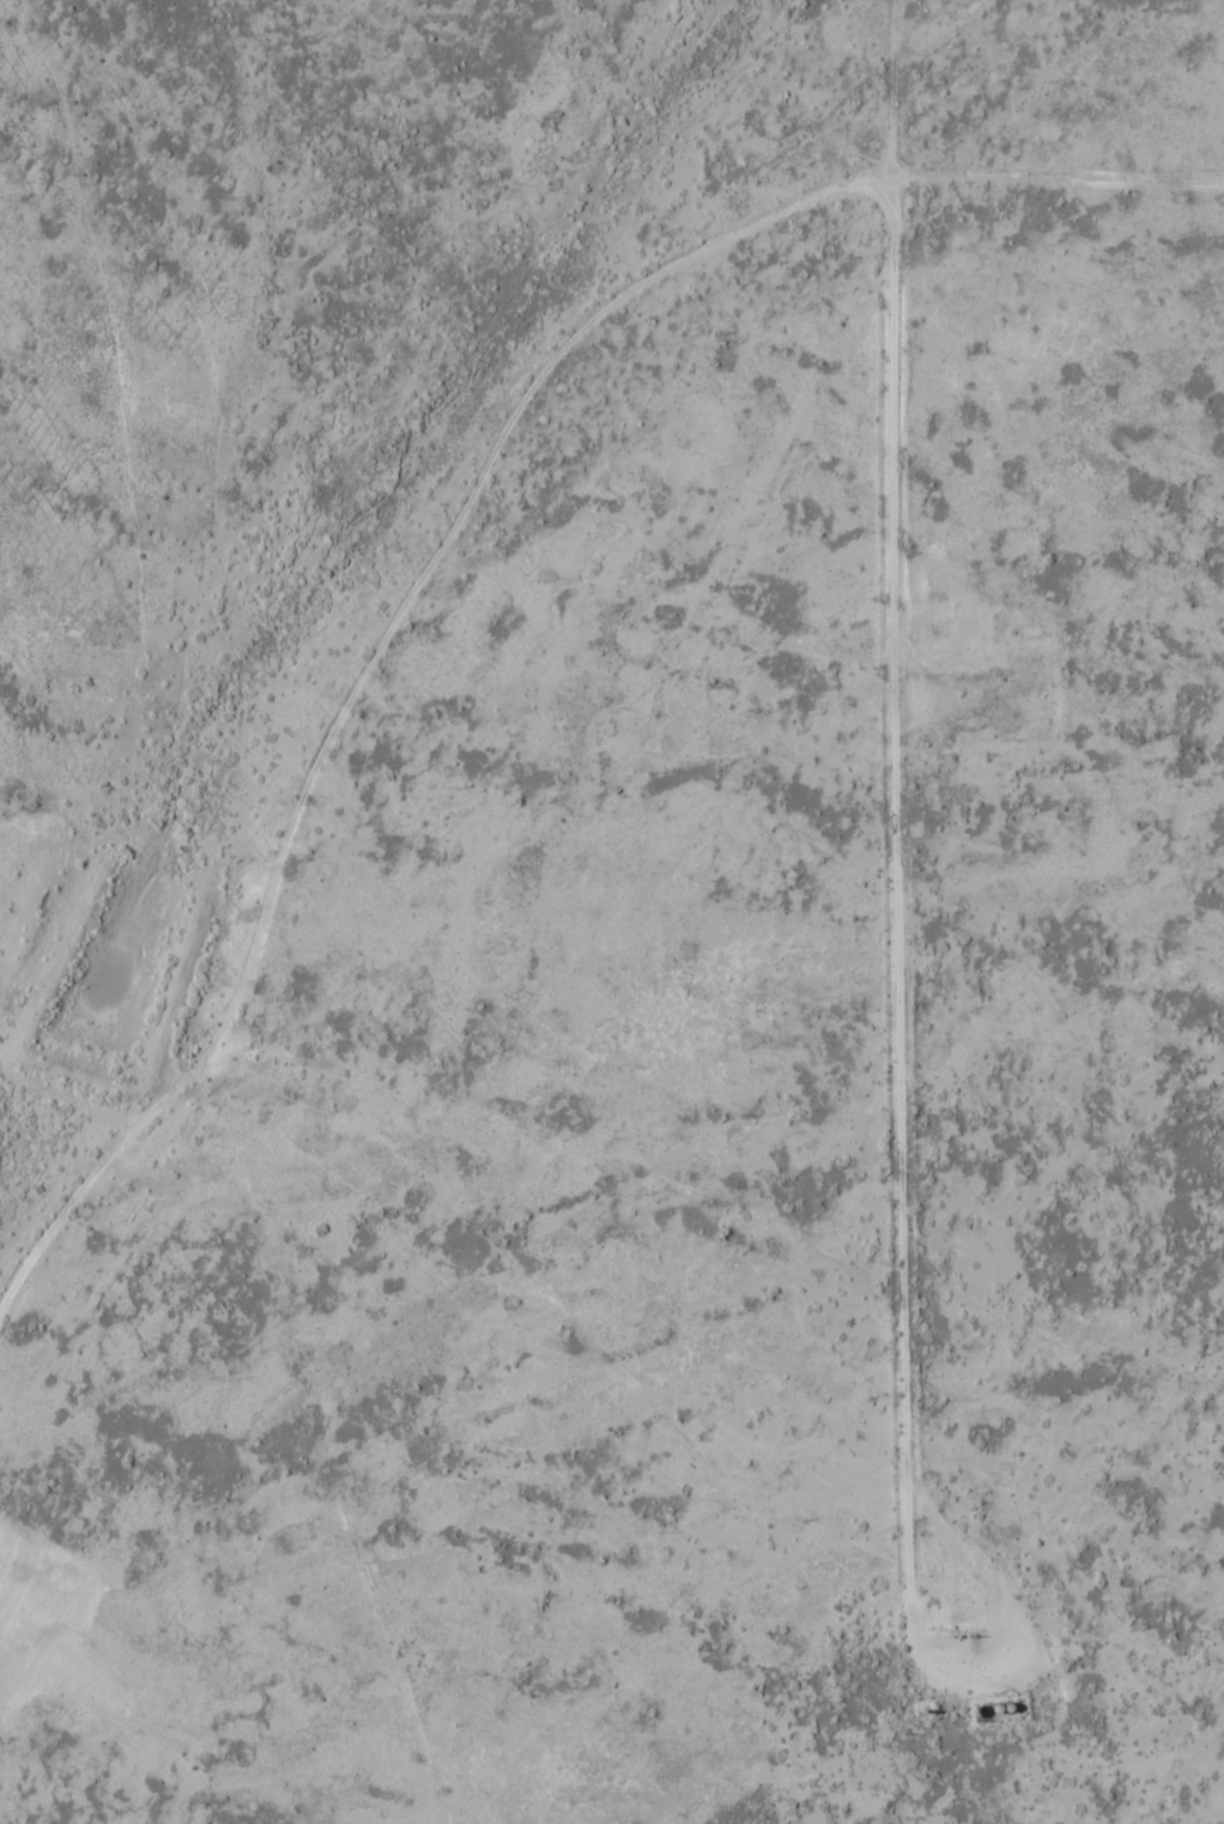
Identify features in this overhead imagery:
road: (899, 84)
road: (455, 523)
road: (907, 972)

